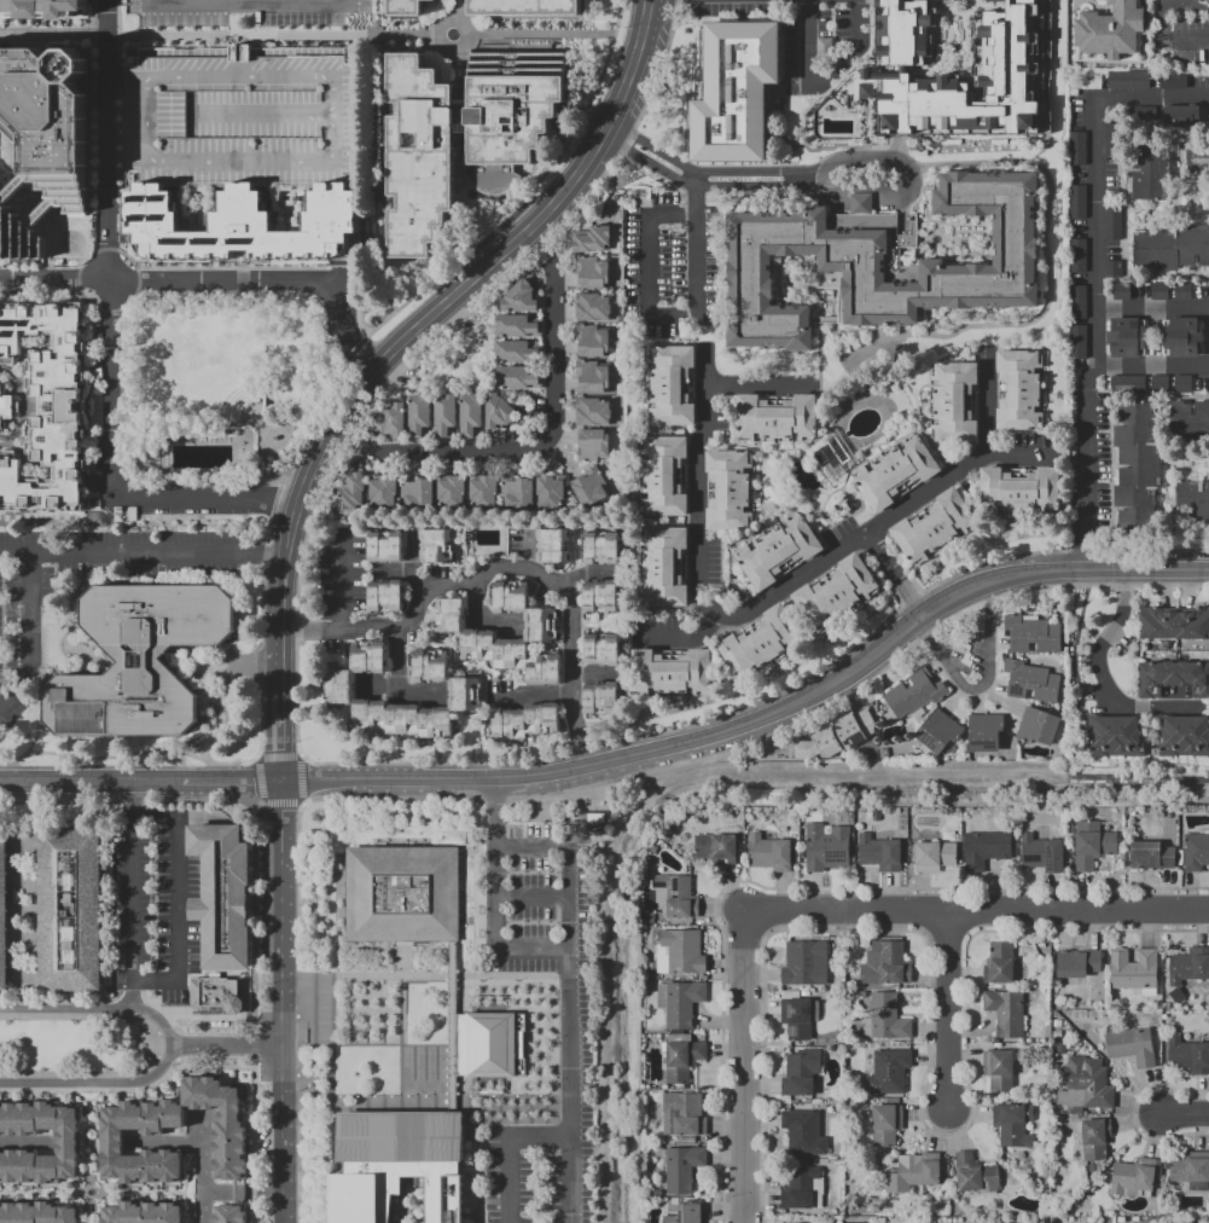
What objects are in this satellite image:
road: (130, 5)
road: (249, 5)
building: (407, 7)
building: (525, 7)
building: (43, 8)
road: (457, 10)
parking lot: (244, 15)
road: (448, 19)
road: (233, 21)
road: (250, 21)
building: (1110, 29)
fountain: (453, 34)
road: (542, 34)
road: (217, 36)
road: (1192, 40)
road: (492, 44)
building: (877, 69)
road: (461, 75)
road: (118, 76)
building: (1172, 80)
building: (1132, 81)
road: (823, 85)
building: (773, 89)
building: (738, 93)
road: (588, 103)
building: (56, 111)
road: (592, 111)
building: (1182, 117)
building: (246, 118)
parking lot: (246, 118)
building: (464, 134)
road: (110, 141)
building: (1116, 141)
building: (1081, 150)
road: (376, 153)
building: (1, 155)
building: (1199, 158)
building: (1156, 170)
road: (530, 176)
road: (757, 180)
road: (819, 180)
building: (25, 189)
road: (483, 195)
fountain: (472, 196)
road: (697, 198)
road: (477, 199)
road: (461, 202)
building: (860, 202)
building: (1081, 204)
street lamp: (499, 214)
building: (53, 215)
street lamp: (471, 219)
road: (95, 222)
parking lot: (502, 225)
building: (1116, 225)
street lamp: (488, 226)
building: (242, 227)
road: (104, 236)
building: (22, 239)
building: (595, 240)
building: (1172, 249)
building: (1081, 256)
street lamp: (383, 257)
building: (879, 263)
road: (646, 265)
building: (1116, 269)
street lamp: (393, 272)
road: (342, 273)
road: (347, 273)
road: (75, 274)
road: (337, 274)
building: (594, 274)
road: (1094, 277)
road: (219, 285)
building: (1123, 292)
building: (1162, 292)
building: (1186, 292)
street lamp: (400, 295)
road: (266, 296)
building: (521, 297)
street lamp: (141, 298)
street lamp: (380, 298)
road: (409, 300)
road: (448, 301)
street lamp: (167, 302)
building: (1081, 303)
street lamp: (136, 306)
street lamp: (225, 306)
building: (595, 308)
street lamp: (130, 311)
road: (1151, 312)
street lamp: (310, 314)
building: (517, 325)
building: (1128, 338)
building: (1185, 338)
building: (1081, 342)
building: (595, 343)
street lamp: (134, 344)
building: (511, 350)
road: (1151, 366)
road: (271, 373)
building: (517, 378)
building: (595, 378)
road: (267, 381)
building: (676, 384)
road: (758, 386)
building: (1130, 386)
building: (1163, 386)
building: (1186, 386)
park: (223, 387)
building: (1025, 388)
building: (958, 400)
street lamp: (307, 402)
building: (8, 408)
building: (75, 408)
street lamp: (134, 408)
road: (267, 412)
building: (500, 412)
building: (595, 412)
building: (470, 413)
building: (419, 415)
building: (446, 415)
building: (781, 417)
road: (260, 421)
building: (391, 421)
building: (1190, 422)
road: (216, 428)
road: (252, 428)
road: (268, 429)
road: (175, 431)
road: (244, 431)
road: (122, 433)
road: (542, 440)
building: (597, 446)
road: (289, 454)
road: (268, 459)
building: (1139, 468)
building: (901, 476)
building: (669, 477)
street lamp: (163, 480)
street lamp: (214, 480)
street lamp: (250, 480)
road: (99, 482)
road: (694, 482)
road: (114, 485)
building: (594, 488)
building: (1024, 489)
building: (355, 492)
building: (454, 492)
building: (731, 492)
building: (386, 493)
building: (487, 493)
building: (521, 493)
building: (554, 493)
building: (419, 494)
building: (1192, 499)
building: (936, 527)
road: (868, 531)
building: (556, 546)
building: (388, 547)
building: (440, 547)
road: (143, 550)
building: (605, 550)
building: (783, 555)
road: (412, 563)
building: (668, 567)
road: (592, 573)
road: (894, 573)
road: (505, 578)
road: (344, 585)
building: (838, 592)
building: (389, 597)
building: (604, 598)
road: (476, 621)
building: (1174, 622)
road: (595, 624)
road: (33, 632)
building: (1036, 633)
building: (481, 637)
building: (762, 642)
parking lot: (21, 648)
building: (605, 650)
building: (135, 659)
road: (397, 661)
road: (248, 665)
building: (434, 667)
road: (209, 670)
building: (674, 672)
road: (597, 676)
building: (1035, 678)
building: (1173, 678)
road: (1099, 679)
road: (983, 684)
building: (344, 688)
road: (402, 694)
building: (918, 695)
road: (535, 696)
road: (278, 697)
building: (605, 699)
road: (761, 720)
building: (529, 723)
building: (1044, 724)
building: (860, 725)
road: (36, 726)
building: (942, 734)
building: (989, 734)
building: (1182, 735)
building: (1118, 737)
road: (1075, 738)
building: (823, 744)
road: (112, 757)
road: (139, 781)
building: (1095, 846)
building: (830, 848)
building: (719, 850)
building: (989, 850)
road: (481, 852)
building: (1196, 852)
building: (883, 853)
building: (772, 854)
building: (1045, 854)
building: (938, 857)
building: (1155, 857)
road: (479, 876)
road: (464, 886)
building: (220, 892)
road: (8, 893)
road: (130, 894)
building: (401, 895)
road: (175, 897)
building: (679, 897)
road: (498, 899)
road: (534, 900)
parking lot: (153, 903)
building: (1, 908)
road: (281, 911)
building: (68, 912)
road: (976, 915)
road: (477, 921)
building: (682, 954)
building: (808, 964)
building: (1002, 964)
building: (1081, 964)
building: (889, 966)
building: (1187, 968)
building: (1134, 970)
road: (426, 976)
building: (215, 995)
road: (570, 998)
building: (682, 1004)
road: (93, 1008)
road: (348, 1010)
road: (365, 1010)
road: (382, 1010)
road: (953, 1014)
building: (1009, 1014)
building: (800, 1016)
building: (889, 1019)
road: (403, 1024)
road: (453, 1028)
road: (227, 1043)
road: (370, 1044)
park: (76, 1045)
fountain: (143, 1045)
building: (489, 1047)
building: (1134, 1048)
parking lot: (577, 1051)
building: (1188, 1055)
building: (686, 1059)
flagpole: (443, 1060)
fountain: (414, 1063)
fountain: (425, 1063)
fountain: (436, 1063)
flagpole: (443, 1068)
road: (744, 1068)
building: (1002, 1071)
building: (891, 1073)
building: (804, 1074)
road: (285, 1076)
flagpole: (443, 1077)
road: (95, 1080)
building: (1089, 1085)
road: (89, 1099)
road: (428, 1105)
road: (1186, 1114)
building: (687, 1115)
building: (889, 1125)
building: (1016, 1126)
building: (232, 1132)
building: (807, 1135)
building: (1098, 1140)
building: (70, 1141)
road: (97, 1141)
road: (83, 1142)
road: (165, 1142)
road: (540, 1142)
road: (284, 1164)
building: (396, 1165)
road: (203, 1169)
building: (686, 1170)
building: (1192, 1171)
building: (917, 1175)
building: (977, 1175)
building: (1135, 1178)
road: (510, 1182)
building: (806, 1190)
road: (244, 1192)
road: (40, 1193)
road: (141, 1193)
road: (185, 1193)
road: (88, 1200)
road: (89, 1212)
building: (39, 1213)
building: (145, 1213)
building: (691, 1213)
building: (232, 1215)

